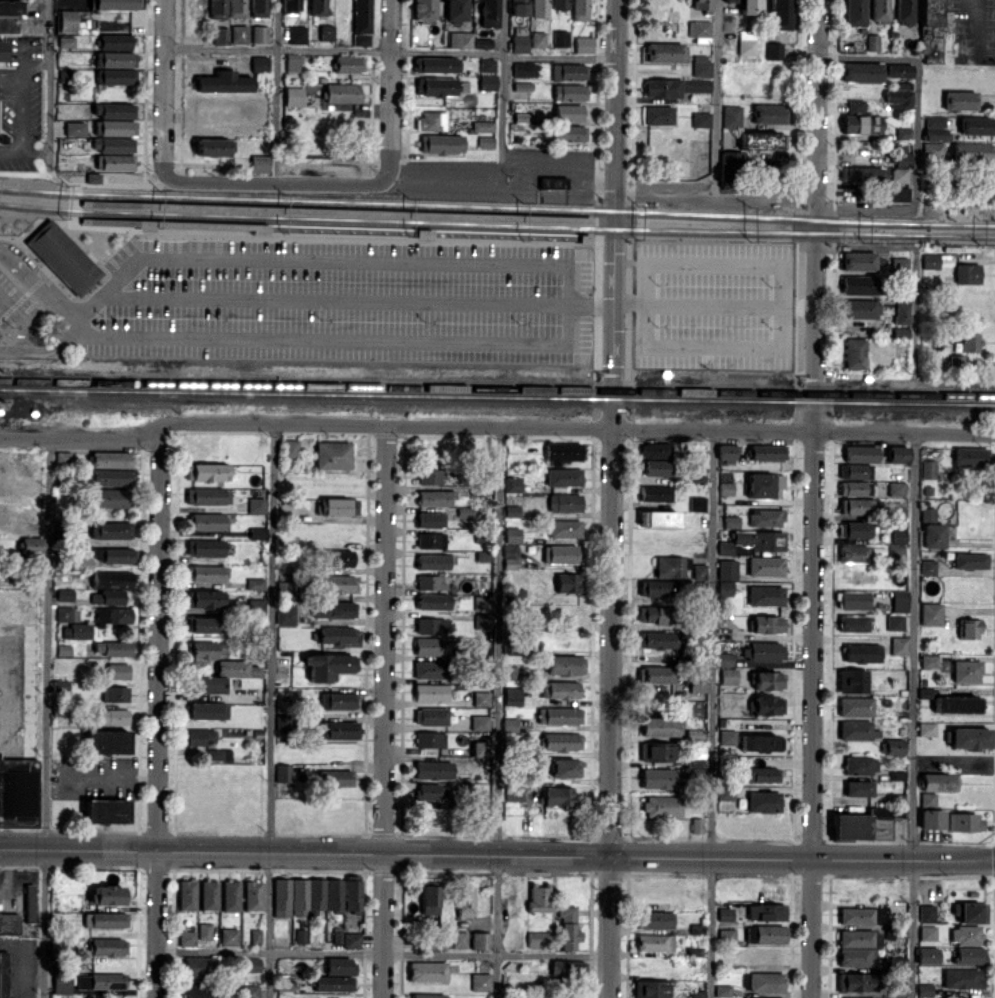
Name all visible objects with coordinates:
building: (112, 4)
building: (559, 4)
building: (292, 6)
building: (747, 6)
building: (317, 7)
building: (519, 7)
building: (237, 8)
building: (258, 8)
building: (539, 8)
building: (424, 10)
building: (579, 10)
building: (880, 11)
building: (855, 12)
building: (905, 12)
building: (488, 13)
building: (780, 14)
building: (9, 15)
building: (67, 20)
building: (363, 22)
building: (700, 30)
building: (326, 32)
building: (238, 33)
building: (936, 33)
building: (220, 34)
building: (259, 34)
building: (297, 34)
building: (560, 38)
building: (537, 39)
building: (466, 40)
building: (65, 41)
building: (114, 41)
building: (747, 42)
building: (873, 42)
building: (519, 43)
building: (583, 44)
road: (279, 49)
building: (2, 50)
building: (774, 50)
road: (447, 51)
building: (663, 52)
road: (558, 56)
building: (114, 59)
building: (292, 62)
building: (259, 63)
building: (348, 64)
building: (437, 64)
building: (487, 65)
building: (701, 65)
building: (524, 69)
building: (569, 71)
building: (862, 71)
building: (901, 74)
building: (66, 75)
building: (116, 75)
road: (167, 81)
building: (223, 82)
building: (488, 82)
road: (502, 85)
building: (440, 86)
building: (522, 86)
road: (918, 86)
road: (46, 87)
road: (390, 88)
road: (275, 91)
building: (570, 92)
building: (342, 94)
building: (293, 96)
road: (715, 98)
building: (900, 98)
building: (961, 100)
building: (857, 105)
building: (112, 109)
road: (20, 112)
building: (568, 112)
building: (769, 113)
building: (659, 114)
building: (732, 116)
building: (431, 120)
building: (702, 120)
building: (862, 123)
building: (977, 125)
building: (483, 126)
building: (114, 127)
building: (74, 128)
building: (935, 128)
building: (569, 133)
building: (904, 133)
building: (1, 138)
building: (759, 140)
building: (486, 141)
building: (441, 143)
building: (112, 144)
building: (211, 147)
building: (934, 150)
building: (974, 151)
building: (117, 162)
building: (259, 163)
building: (731, 163)
building: (864, 173)
building: (900, 174)
road: (108, 176)
road: (387, 178)
building: (553, 182)
railway: (43, 192)
building: (901, 192)
road: (714, 196)
railway: (465, 204)
railway: (465, 206)
railway: (335, 208)
railway: (44, 209)
road: (866, 209)
road: (818, 215)
railway: (469, 222)
railway: (963, 223)
railway: (469, 224)
building: (180, 225)
railway: (329, 225)
railway: (967, 234)
road: (868, 247)
road: (356, 257)
building: (61, 258)
building: (862, 260)
road: (717, 261)
building: (901, 265)
building: (969, 273)
building: (860, 284)
road: (40, 285)
road: (107, 290)
road: (337, 295)
parking lot: (344, 299)
road: (569, 301)
road: (675, 302)
parking lot: (715, 305)
building: (862, 308)
road: (918, 310)
building: (903, 312)
road: (76, 328)
building: (902, 332)
road: (327, 337)
building: (971, 342)
road: (714, 345)
road: (39, 348)
building: (856, 353)
building: (960, 360)
railway: (497, 388)
railway: (497, 399)
road: (489, 428)
road: (905, 432)
road: (81, 438)
building: (291, 448)
building: (656, 450)
building: (564, 452)
building: (767, 452)
building: (728, 453)
building: (862, 453)
building: (899, 454)
building: (333, 455)
building: (973, 457)
building: (63, 458)
building: (111, 459)
building: (658, 467)
building: (929, 469)
building: (857, 471)
building: (207, 472)
building: (565, 476)
building: (111, 477)
building: (514, 484)
building: (766, 485)
building: (447, 487)
building: (727, 488)
building: (856, 488)
building: (898, 489)
building: (657, 493)
building: (208, 496)
building: (111, 497)
road: (610, 498)
building: (566, 502)
building: (699, 503)
building: (257, 505)
building: (861, 506)
building: (288, 511)
building: (513, 511)
building: (929, 514)
building: (767, 517)
building: (660, 518)
building: (432, 519)
building: (208, 521)
building: (733, 521)
building: (566, 528)
building: (854, 529)
building: (113, 530)
building: (258, 533)
building: (934, 535)
building: (900, 536)
building: (432, 540)
building: (755, 541)
building: (30, 545)
building: (205, 547)
building: (512, 548)
building: (855, 553)
building: (898, 553)
building: (113, 554)
building: (561, 554)
building: (339, 558)
building: (971, 560)
building: (433, 561)
building: (79, 563)
building: (672, 566)
building: (767, 566)
building: (929, 566)
building: (728, 569)
building: (700, 571)
building: (204, 573)
building: (112, 579)
building: (432, 582)
building: (568, 583)
building: (256, 584)
building: (339, 584)
building: (700, 587)
building: (659, 588)
building: (65, 595)
building: (519, 595)
building: (767, 595)
building: (112, 596)
building: (204, 599)
building: (854, 599)
building: (434, 601)
building: (901, 601)
building: (482, 603)
building: (259, 609)
building: (335, 609)
building: (64, 613)
building: (932, 613)
building: (655, 614)
building: (113, 615)
building: (286, 615)
building: (484, 621)
building: (896, 621)
building: (854, 623)
building: (204, 624)
building: (768, 624)
building: (432, 625)
building: (970, 628)
building: (80, 630)
building: (338, 635)
building: (658, 640)
building: (900, 645)
building: (430, 646)
building: (113, 648)
building: (480, 650)
building: (205, 651)
building: (766, 651)
building: (863, 653)
building: (725, 659)
building: (929, 660)
building: (565, 664)
building: (329, 665)
building: (431, 669)
building: (118, 671)
building: (967, 671)
building: (510, 672)
building: (659, 674)
building: (223, 676)
building: (729, 676)
building: (768, 680)
building: (854, 681)
building: (699, 683)
building: (60, 685)
building: (561, 690)
building: (431, 692)
building: (115, 693)
building: (513, 696)
building: (482, 698)
building: (339, 700)
building: (953, 702)
building: (766, 705)
building: (856, 706)
building: (207, 710)
road: (157, 712)
road: (270, 712)
road: (387, 713)
road: (500, 713)
road: (711, 713)
road: (813, 714)
building: (560, 715)
road: (915, 715)
building: (112, 716)
building: (432, 716)
road: (45, 718)
building: (481, 722)
building: (511, 724)
building: (660, 726)
building: (927, 728)
building: (340, 730)
building: (858, 730)
building: (199, 736)
building: (728, 737)
building: (970, 738)
building: (431, 739)
building: (107, 741)
building: (561, 741)
building: (759, 741)
building: (894, 746)
building: (481, 748)
building: (657, 752)
building: (219, 754)
building: (697, 763)
building: (861, 764)
building: (567, 768)
building: (433, 770)
building: (284, 773)
building: (759, 775)
road: (109, 778)
building: (338, 778)
building: (659, 778)
building: (939, 781)
building: (859, 788)
building: (18, 792)
building: (726, 792)
building: (434, 793)
building: (515, 793)
building: (559, 796)
building: (764, 801)
building: (662, 806)
building: (106, 810)
building: (931, 812)
building: (965, 822)
building: (866, 823)
road: (21, 844)
road: (517, 853)
road: (22, 854)
road: (992, 858)
building: (353, 893)
building: (107, 894)
building: (187, 894)
building: (209, 895)
building: (231, 895)
building: (253, 895)
building: (282, 896)
building: (316, 896)
building: (430, 896)
building: (540, 897)
building: (465, 901)
building: (767, 911)
building: (970, 912)
building: (927, 913)
building: (725, 914)
building: (859, 915)
building: (108, 919)
building: (655, 919)
building: (9, 924)
building: (568, 927)
building: (697, 928)
building: (205, 931)
building: (928, 932)
building: (765, 934)
building: (300, 935)
building: (727, 935)
building: (965, 935)
building: (229, 936)
building: (187, 937)
building: (459, 939)
building: (538, 939)
building: (352, 940)
building: (481, 940)
building: (654, 942)
building: (107, 946)
building: (858, 947)
building: (695, 951)
road: (381, 952)
building: (927, 955)
building: (969, 955)
building: (252, 964)
building: (896, 964)
building: (199, 966)
building: (340, 966)
building: (568, 970)
building: (427, 971)
building: (3, 974)
building: (963, 978)
building: (102, 981)
building: (481, 981)
building: (766, 981)
building: (857, 981)
building: (333, 983)
building: (62, 984)
building: (650, 989)
building: (723, 990)
building: (897, 990)
building: (924, 990)
building: (202, 991)
building: (250, 991)
building: (697, 993)
building: (428, 995)
building: (764, 997)
building: (854, 997)

